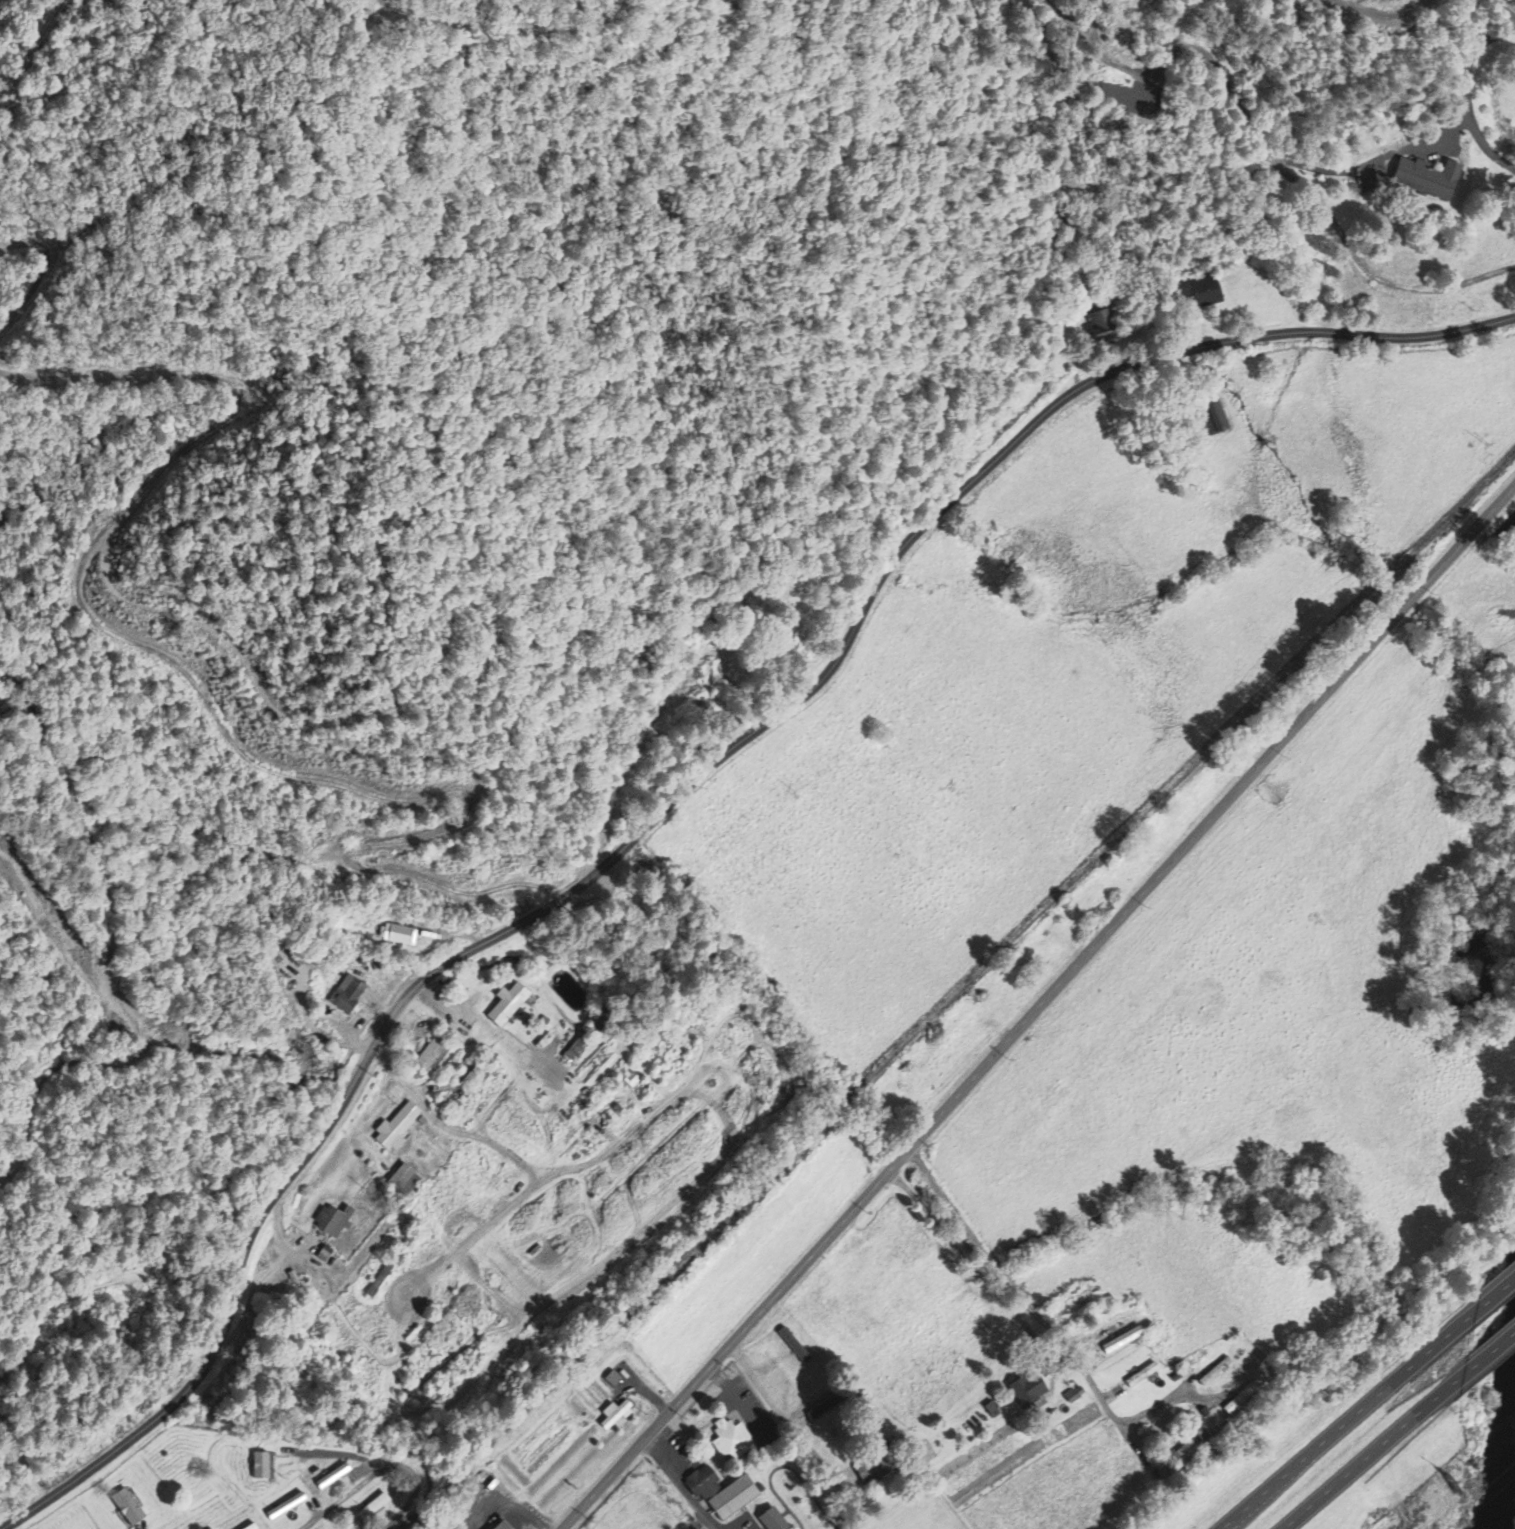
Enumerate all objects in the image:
building: (1426, 178)
building: (1200, 292)
building: (1215, 416)
railway: (1466, 502)
railway: (1408, 557)
road: (676, 795)
building: (398, 935)
building: (347, 995)
building: (507, 1005)
road: (1038, 1006)
railway: (900, 1046)
building: (575, 1052)
building: (429, 1056)
building: (393, 1129)
building: (402, 1182)
building: (332, 1221)
road: (1487, 1300)
road: (1036, 1311)
building: (1122, 1341)
road: (1480, 1357)
building: (1027, 1390)
building: (614, 1416)
road: (1339, 1425)
building: (731, 1440)
road: (1363, 1457)
building: (1180, 1458)
building: (260, 1467)
building: (870, 1470)
road: (379, 1476)
river: (1507, 1480)
building: (721, 1494)
road: (334, 1500)
building: (127, 1508)
building: (771, 1521)
building: (501, 1526)

